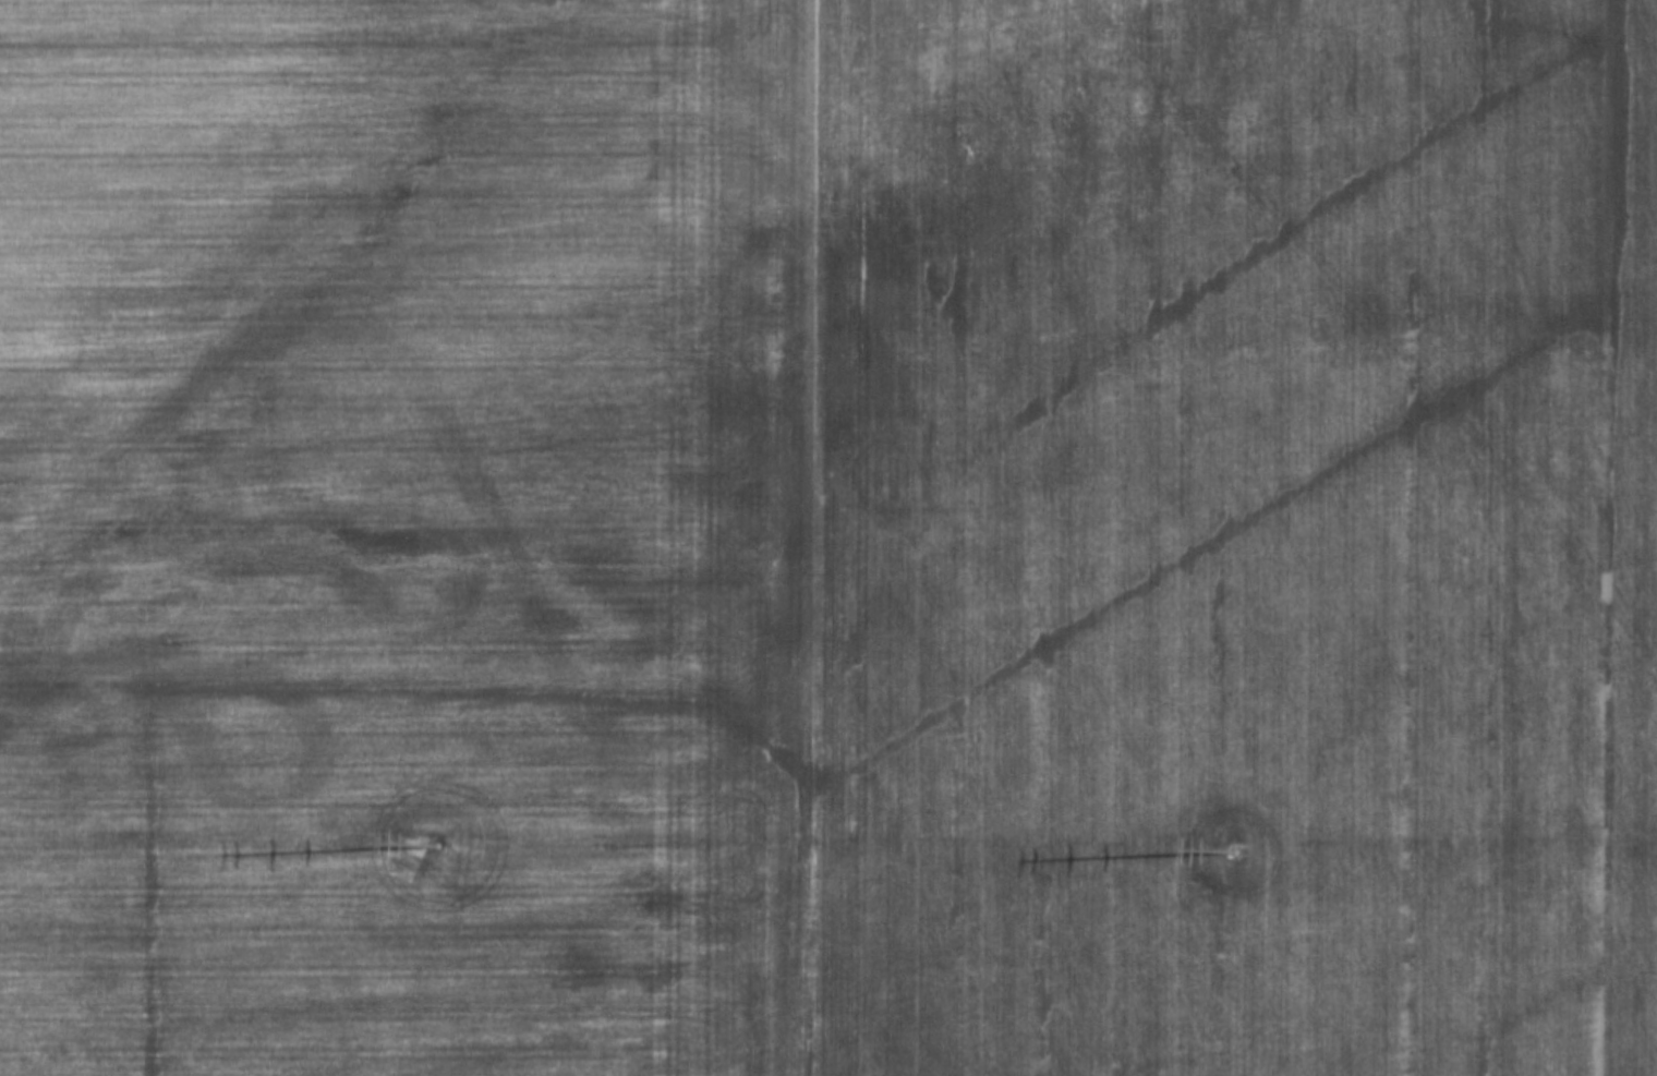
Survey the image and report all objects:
power tower: (438, 847)
power tower: (1235, 851)

